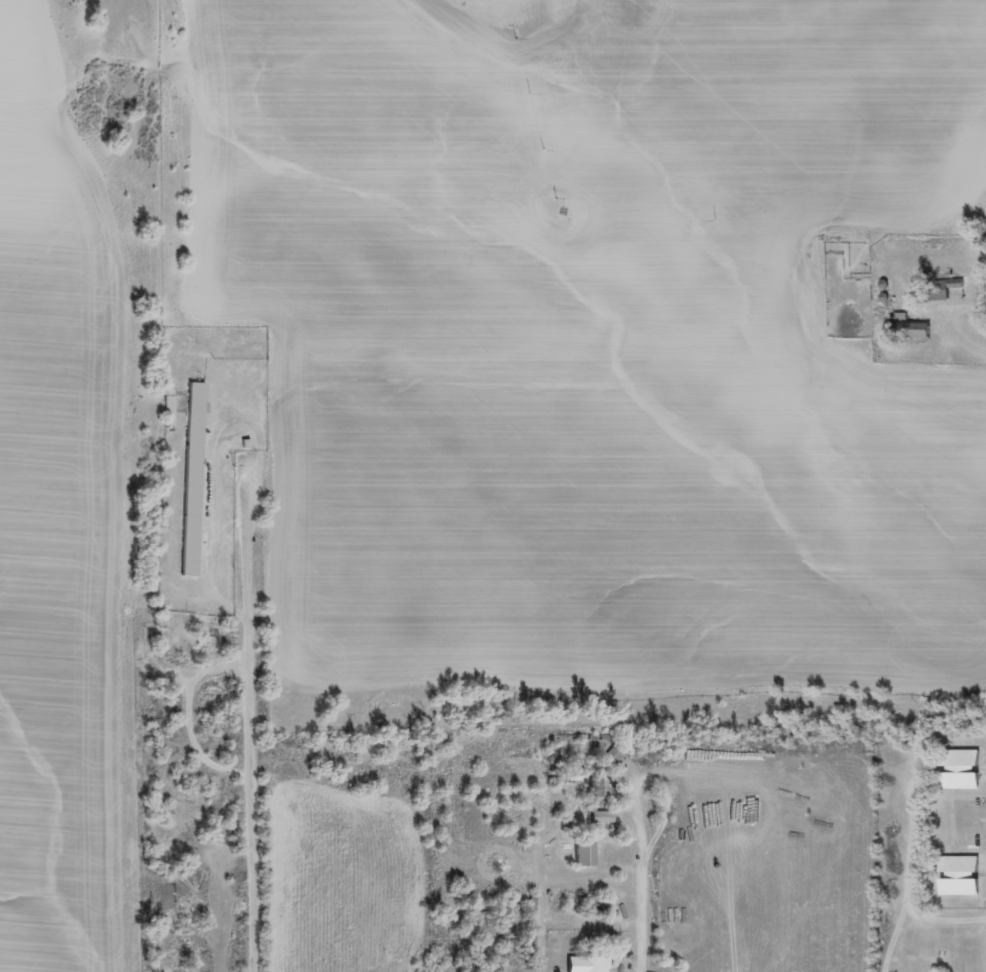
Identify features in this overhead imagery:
building: (906, 331)
building: (168, 412)
building: (191, 480)
road: (253, 722)
building: (957, 770)
building: (600, 817)
road: (448, 827)
road: (644, 873)
road: (872, 928)

